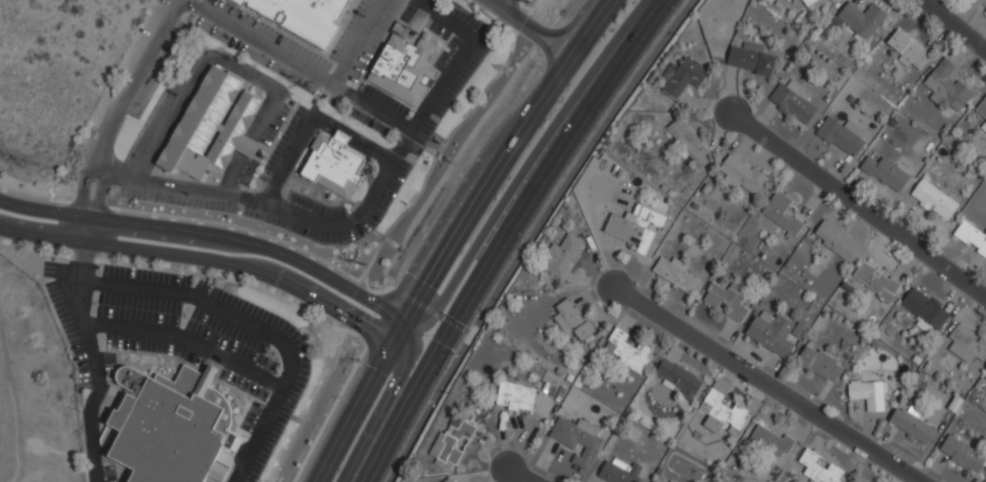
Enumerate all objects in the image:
building: (786, 0)
building: (807, 1)
power tower: (528, 3)
road: (503, 4)
parking lot: (161, 5)
building: (985, 10)
parking lot: (409, 11)
building: (301, 16)
road: (512, 17)
parking lot: (188, 18)
building: (861, 18)
parking lot: (466, 19)
road: (954, 26)
parking lot: (349, 30)
parking lot: (438, 30)
parking lot: (268, 35)
road: (571, 36)
parking lot: (372, 41)
street lamp: (489, 41)
road: (356, 43)
parking lot: (454, 43)
street lamp: (640, 43)
street lamp: (494, 45)
building: (908, 50)
parking lot: (256, 57)
building: (750, 59)
parking lot: (442, 62)
road: (229, 64)
road: (548, 64)
road: (296, 65)
building: (403, 70)
building: (682, 76)
parking lot: (462, 77)
street lamp: (345, 81)
road: (132, 82)
building: (947, 86)
parking lot: (382, 100)
building: (793, 101)
parking lot: (163, 106)
building: (982, 108)
parking lot: (356, 114)
street lamp: (284, 123)
road: (310, 123)
parking lot: (273, 125)
building: (212, 126)
building: (983, 126)
parking lot: (426, 131)
building: (840, 137)
building: (689, 142)
parking lot: (282, 144)
street lamp: (265, 158)
building: (333, 165)
parking lot: (246, 172)
building: (885, 172)
building: (742, 175)
street lamp: (551, 183)
parking lot: (392, 186)
road: (80, 192)
road: (98, 194)
street lamp: (283, 198)
building: (934, 199)
parking lot: (176, 200)
street lamp: (59, 205)
road: (858, 206)
parking lot: (314, 207)
building: (781, 212)
building: (649, 215)
road: (354, 218)
building: (629, 232)
road: (462, 235)
road: (496, 236)
building: (971, 236)
road: (213, 237)
building: (836, 239)
road: (477, 242)
building: (561, 256)
road: (207, 258)
power tower: (365, 265)
parking lot: (47, 269)
building: (675, 273)
parking lot: (145, 276)
building: (876, 281)
street lamp: (487, 285)
building: (727, 299)
street lamp: (94, 304)
parking lot: (136, 310)
building: (925, 310)
street lamp: (183, 316)
building: (573, 320)
street lamp: (471, 324)
traffic signals: (410, 325)
road: (253, 328)
building: (771, 332)
parking lot: (68, 334)
traffic signals: (439, 336)
road: (465, 338)
parking lot: (228, 339)
road: (185, 340)
traffic signals: (400, 344)
building: (967, 344)
parking lot: (152, 348)
road: (90, 350)
building: (627, 351)
traffic signals: (426, 360)
street lamp: (278, 362)
building: (820, 363)
parking lot: (299, 382)
parking lot: (242, 384)
road: (765, 385)
building: (869, 393)
building: (515, 396)
road: (383, 405)
street lamp: (78, 411)
building: (721, 411)
parking lot: (250, 417)
building: (911, 424)
building: (169, 425)
building: (577, 439)
building: (452, 441)
building: (770, 442)
building: (962, 454)
building: (818, 469)
building: (618, 471)
building: (218, 472)
parking lot: (108, 473)
road: (518, 475)
building: (448, 480)
building: (657, 480)
street lamp: (259, 481)
building: (853, 481)

